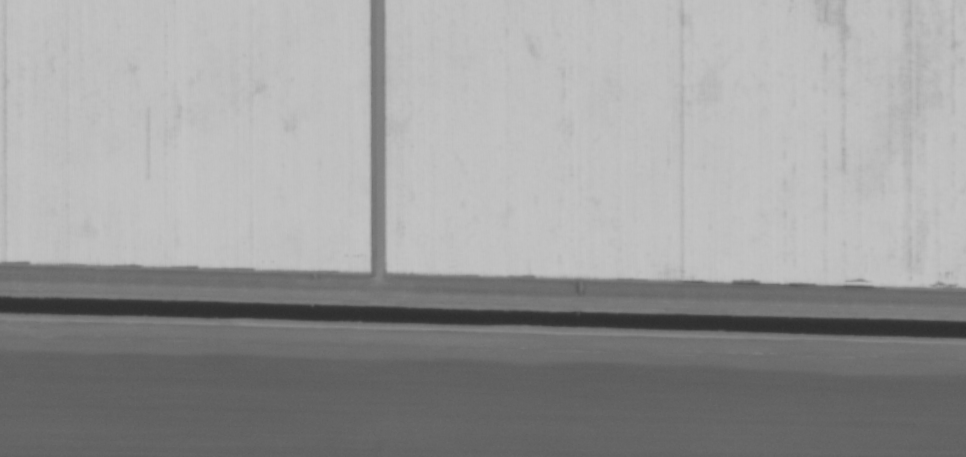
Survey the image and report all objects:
crop: (483, 228)

